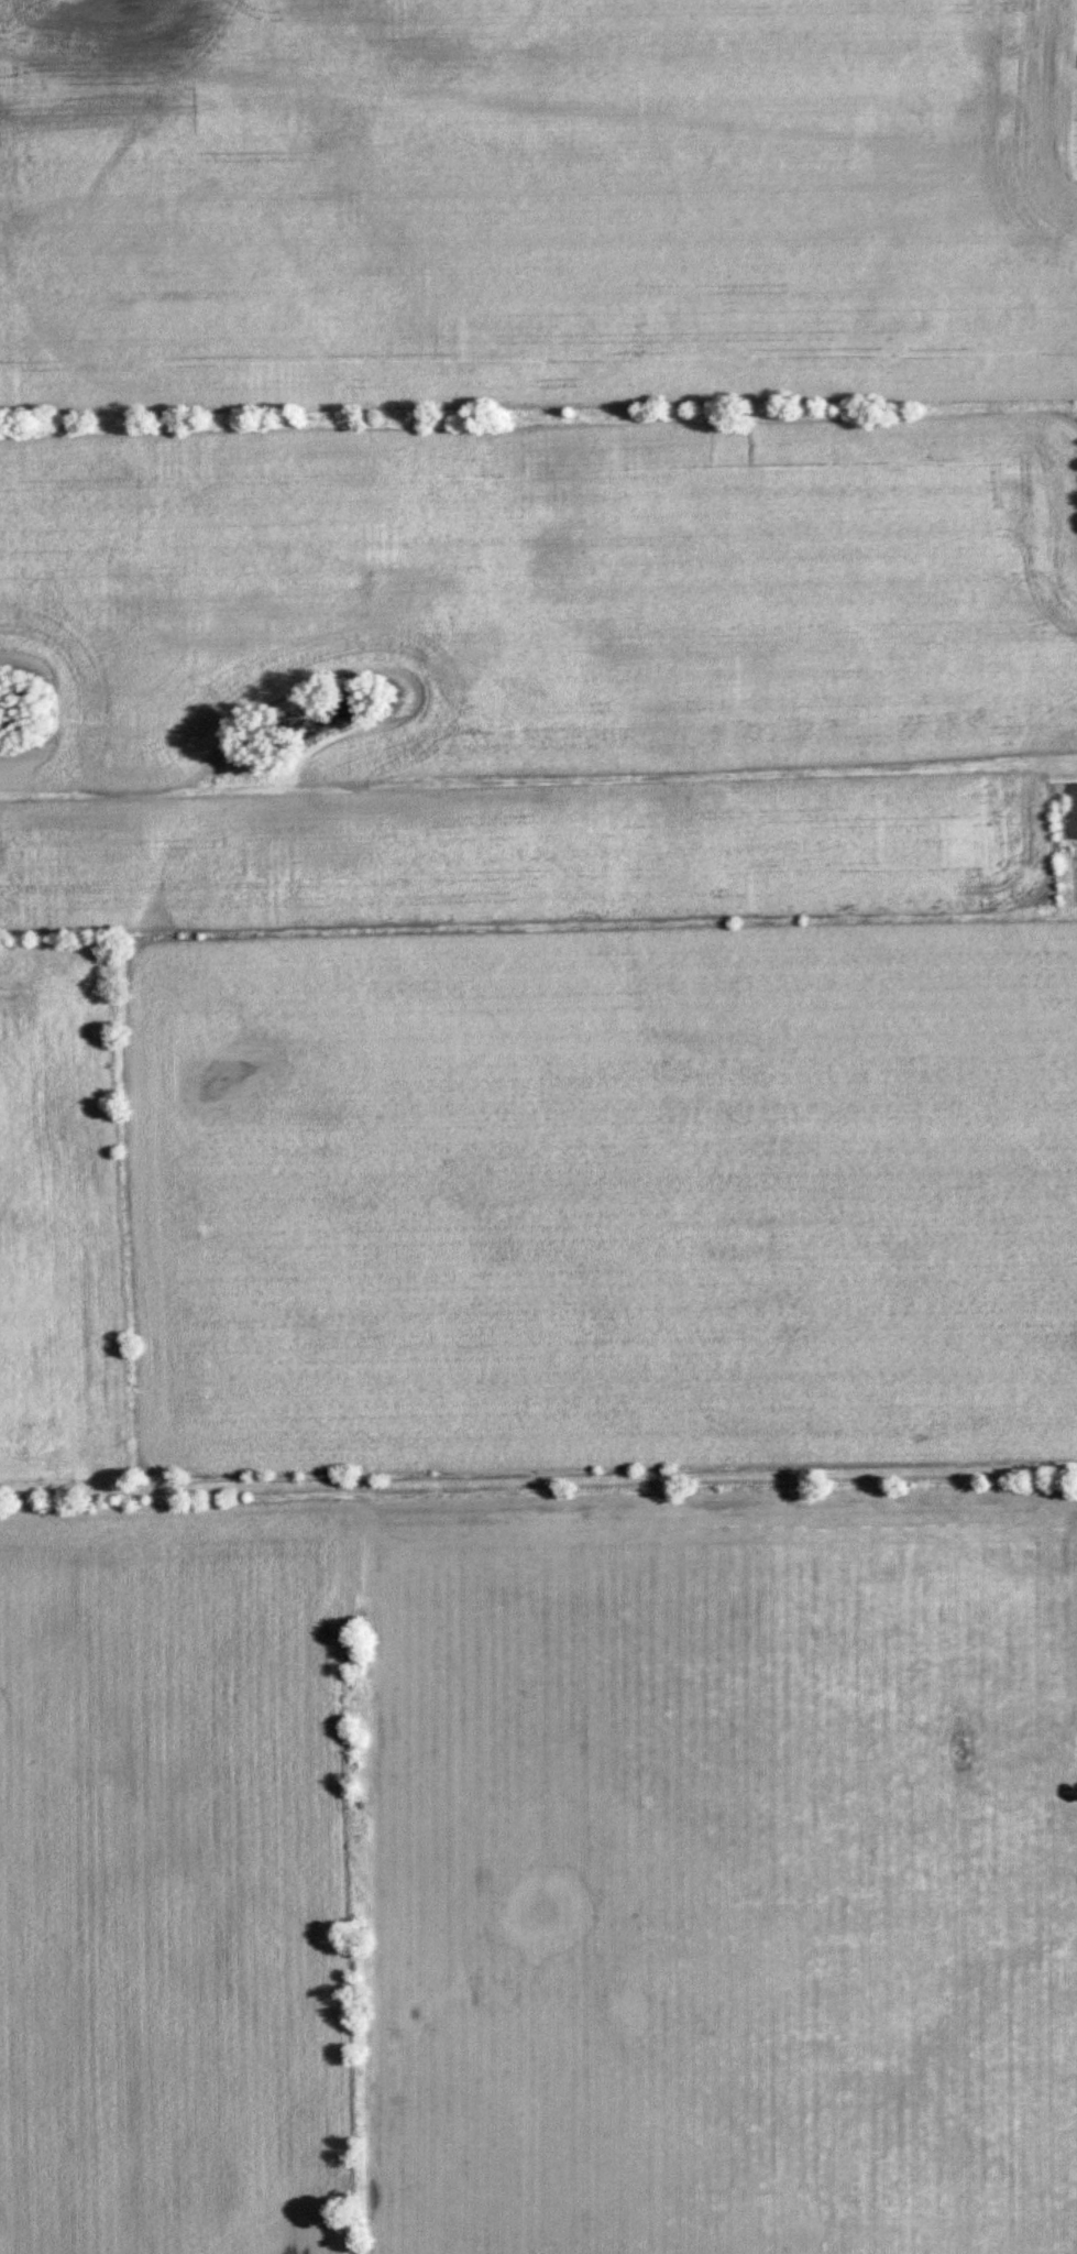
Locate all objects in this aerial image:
building: (1074, 812)

